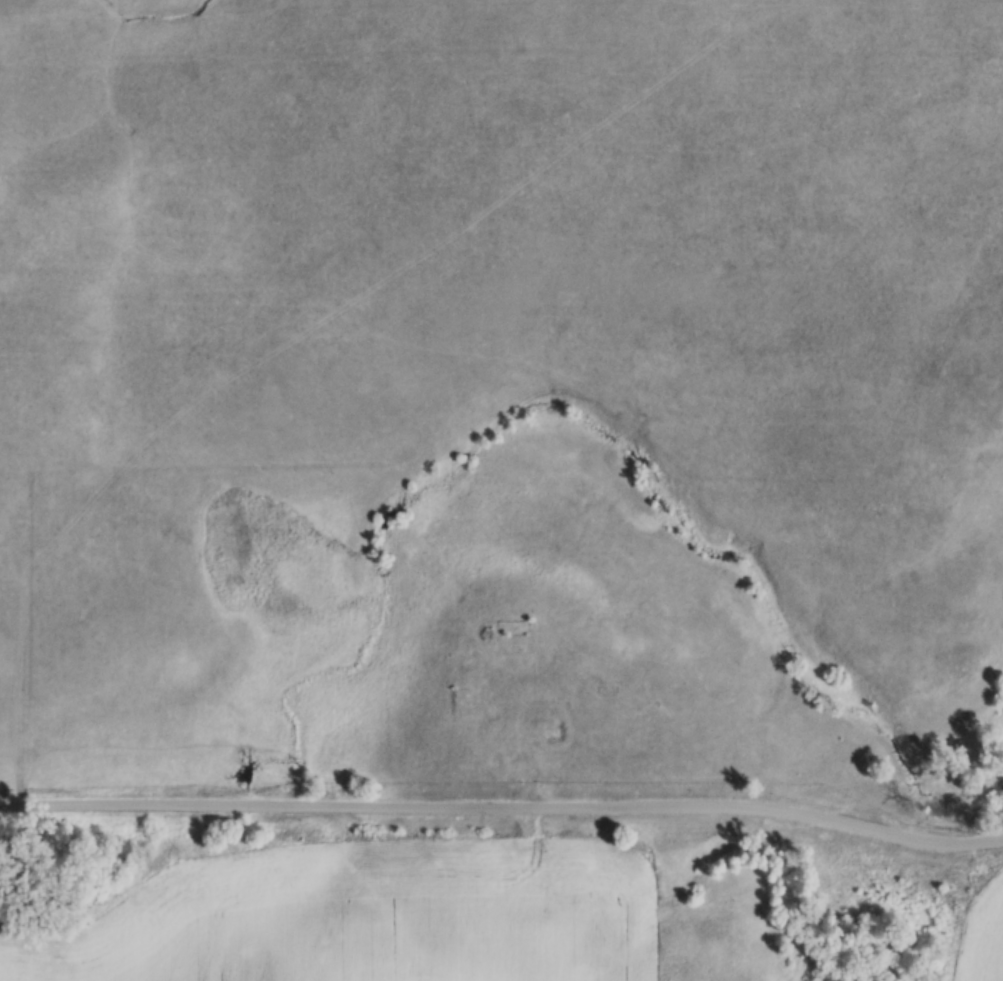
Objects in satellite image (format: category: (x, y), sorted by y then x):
road: (503, 802)

